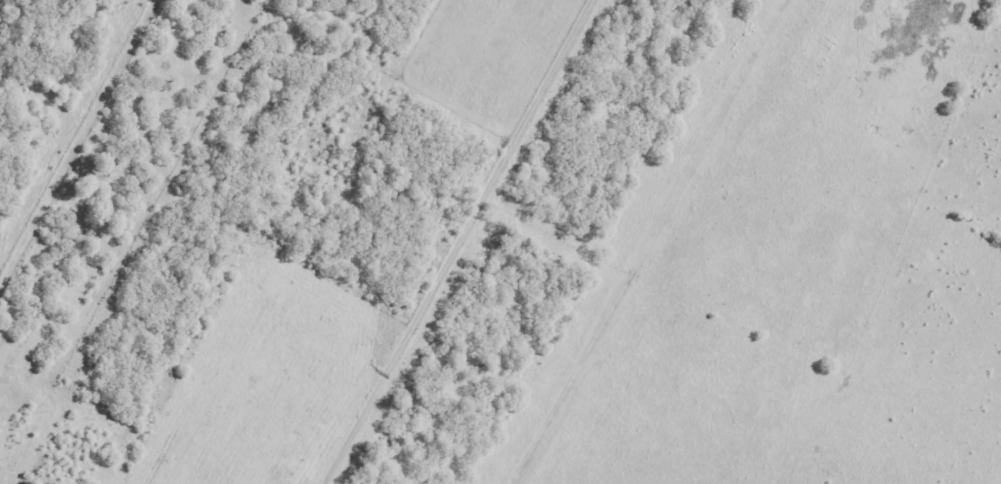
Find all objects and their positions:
road: (74, 135)
road: (459, 242)

